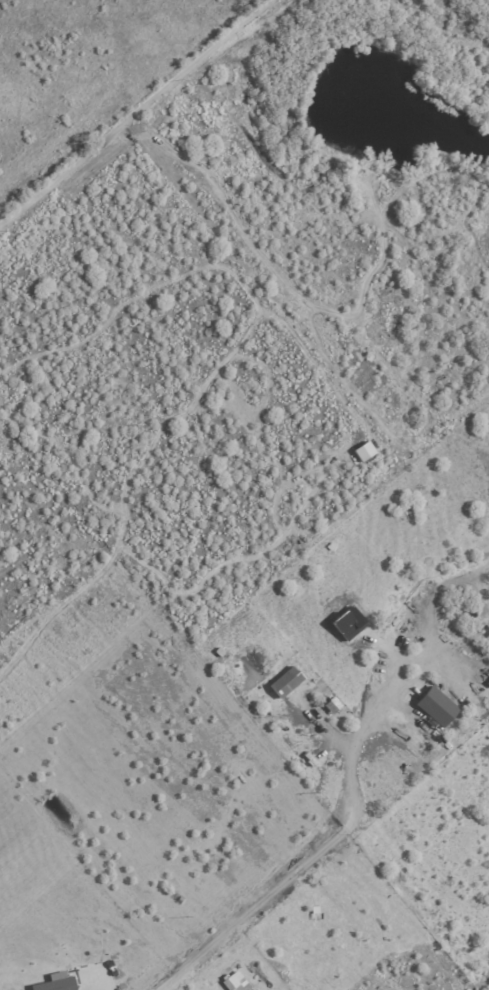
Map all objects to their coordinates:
road: (134, 112)
building: (364, 451)
building: (347, 622)
building: (285, 681)
building: (332, 704)
building: (436, 706)
road: (304, 848)
building: (56, 984)

